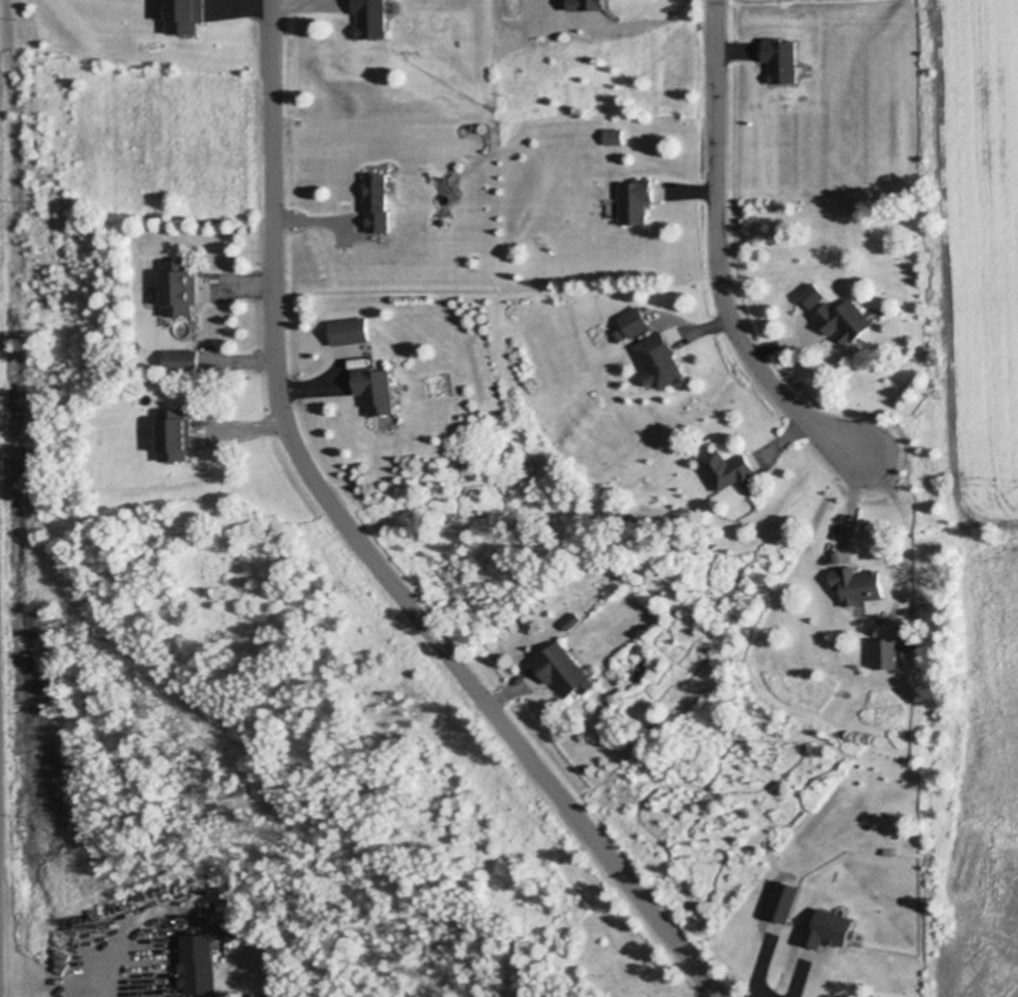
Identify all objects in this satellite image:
building: (582, 5)
building: (181, 17)
building: (371, 18)
building: (780, 59)
building: (614, 136)
building: (636, 201)
building: (377, 203)
building: (441, 222)
road: (718, 256)
building: (180, 287)
building: (813, 295)
building: (844, 320)
building: (630, 324)
building: (351, 330)
building: (661, 358)
building: (181, 359)
building: (375, 391)
building: (175, 435)
building: (727, 468)
road: (362, 548)
building: (857, 584)
building: (571, 621)
building: (639, 647)
building: (890, 652)
building: (563, 669)
building: (780, 905)
building: (198, 963)
road: (110, 978)
road: (708, 993)

